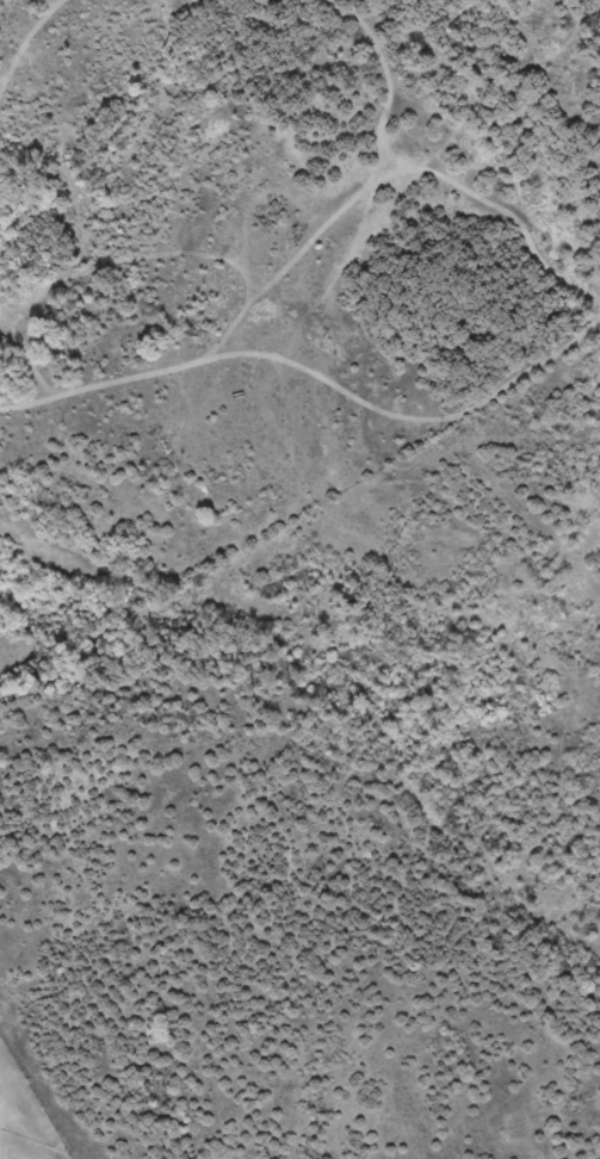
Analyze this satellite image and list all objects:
road: (327, 314)

